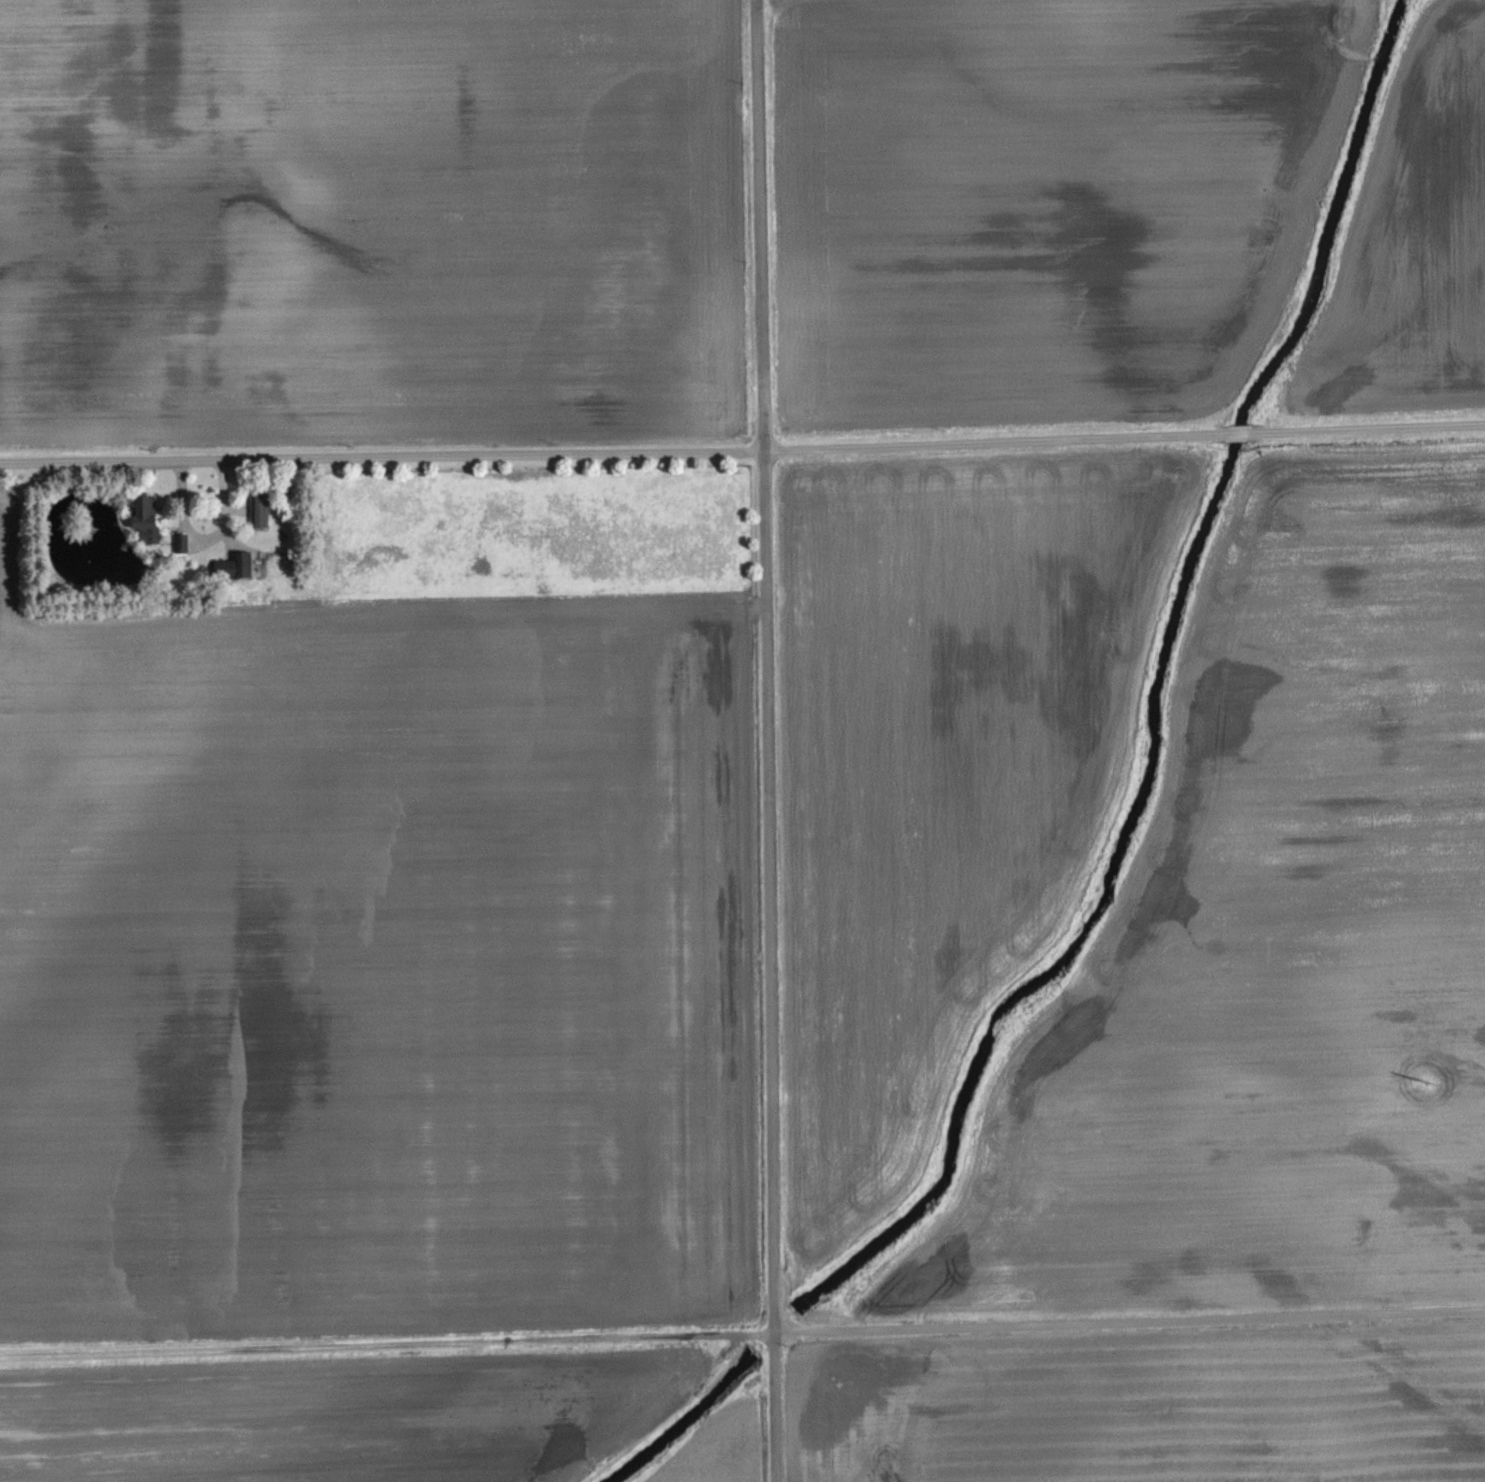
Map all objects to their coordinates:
road: (742, 452)
building: (147, 510)
building: (261, 510)
road: (209, 531)
building: (235, 566)
road: (761, 741)
road: (742, 1331)

